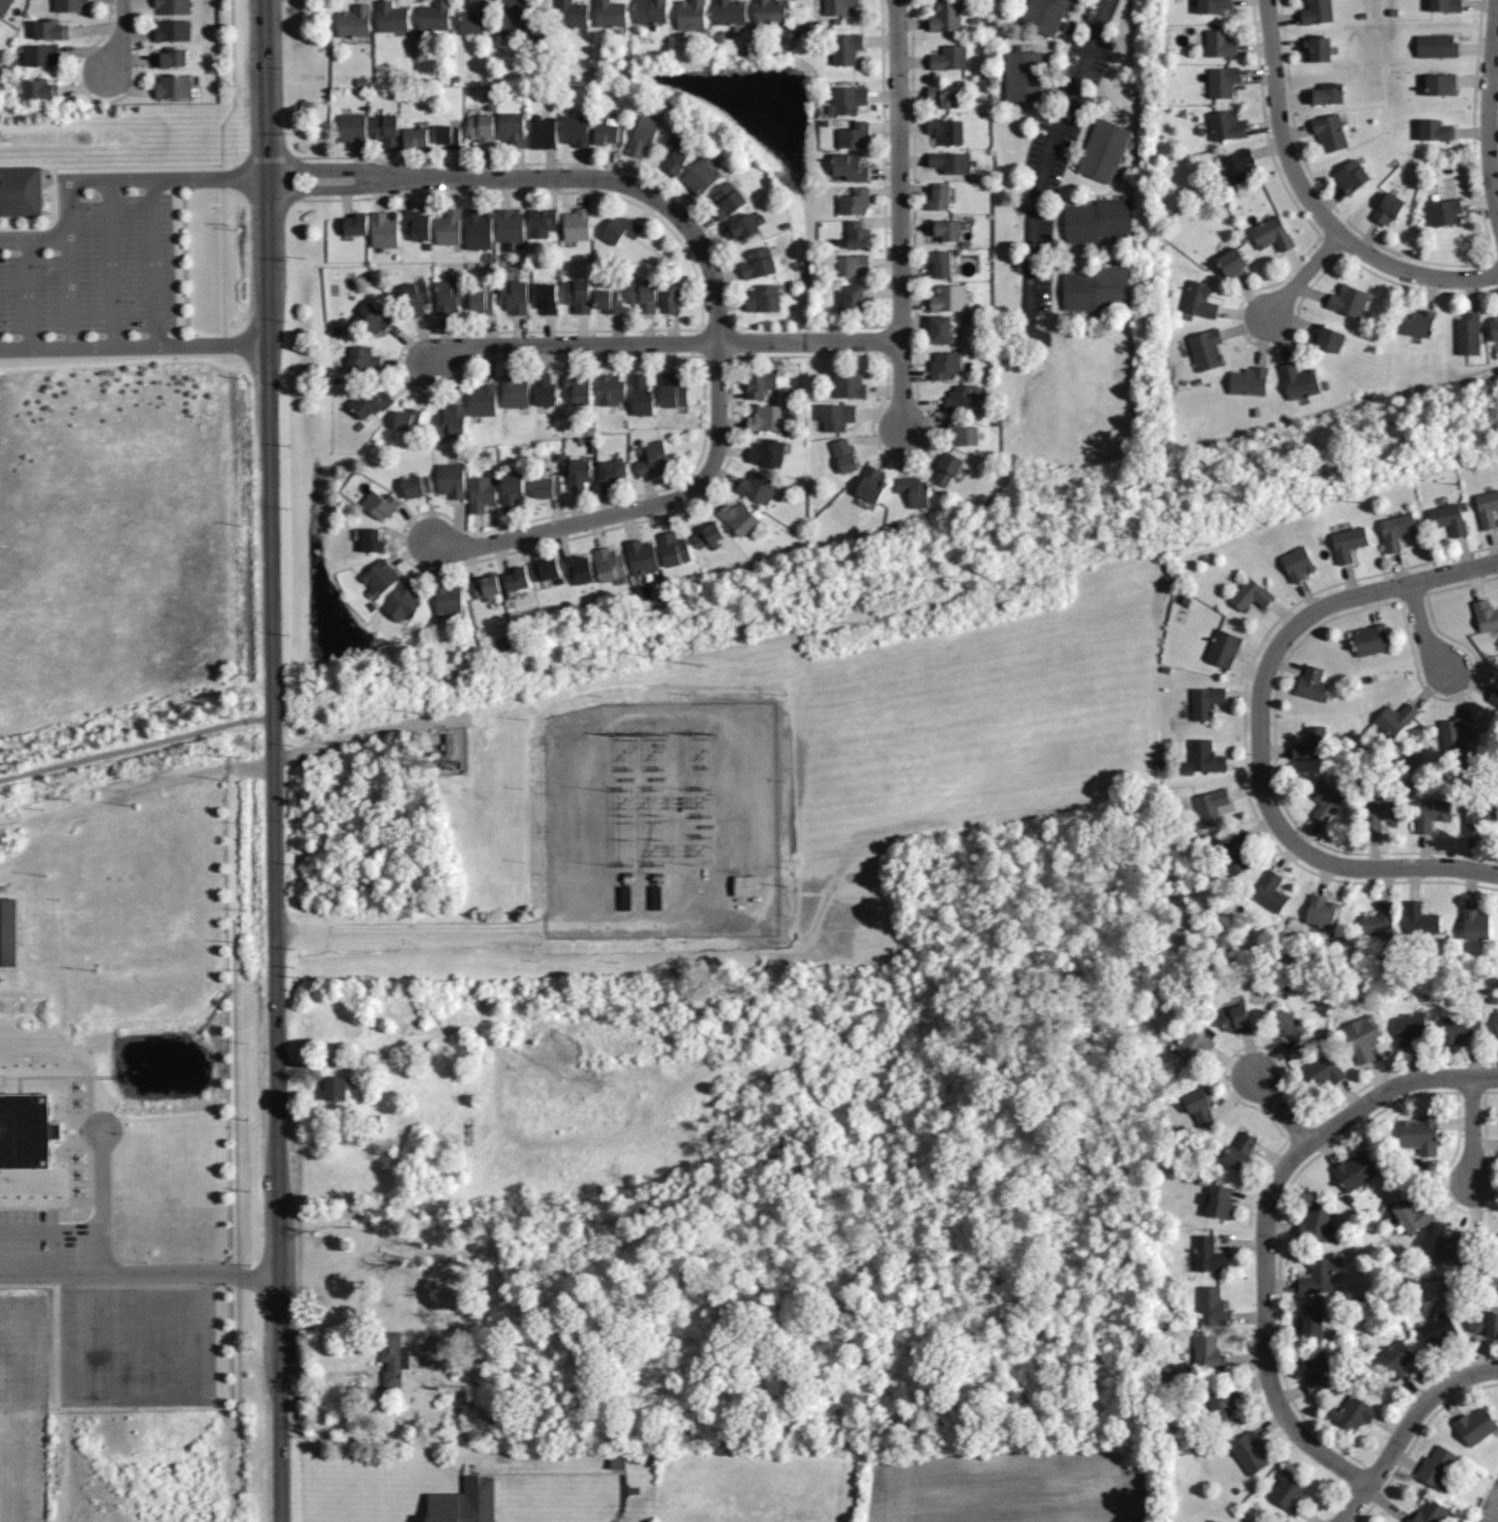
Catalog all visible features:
building: (4, 5)
building: (69, 5)
building: (1446, 5)
building: (173, 6)
building: (838, 6)
building: (1214, 6)
building: (648, 9)
building: (769, 11)
building: (1317, 11)
building: (730, 12)
building: (608, 13)
building: (571, 14)
building: (690, 14)
building: (1044, 14)
building: (433, 16)
building: (389, 17)
building: (513, 17)
building: (945, 17)
building: (471, 19)
building: (354, 22)
building: (0, 26)
building: (52, 29)
building: (173, 30)
road: (119, 37)
building: (1220, 43)
building: (846, 48)
building: (1316, 48)
building: (1437, 48)
building: (171, 56)
building: (41, 57)
building: (948, 58)
building: (1023, 75)
building: (1223, 82)
building: (1441, 85)
building: (172, 87)
building: (39, 88)
building: (942, 96)
building: (1328, 97)
building: (849, 100)
road: (1486, 110)
building: (1226, 125)
building: (352, 128)
building: (384, 128)
building: (512, 129)
building: (574, 129)
building: (480, 130)
building: (945, 130)
building: (608, 131)
building: (1436, 131)
building: (543, 132)
building: (1329, 133)
building: (643, 135)
building: (853, 135)
building: (447, 137)
building: (416, 138)
building: (1104, 150)
building: (675, 154)
building: (949, 162)
building: (1237, 165)
building: (849, 166)
road: (899, 169)
road: (1046, 169)
building: (701, 176)
building: (1350, 176)
road: (104, 177)
road: (546, 177)
building: (22, 189)
building: (940, 197)
building: (726, 201)
building: (854, 201)
road: (1311, 202)
building: (1389, 209)
building: (1447, 210)
building: (1097, 220)
building: (416, 223)
building: (541, 224)
building: (575, 224)
building: (353, 225)
building: (509, 225)
building: (448, 226)
building: (382, 228)
building: (742, 228)
building: (477, 229)
building: (622, 229)
building: (946, 229)
building: (1271, 233)
building: (857, 235)
building: (1230, 262)
building: (940, 263)
building: (758, 264)
building: (852, 264)
road: (1306, 275)
building: (1095, 288)
building: (545, 295)
building: (642, 295)
building: (577, 296)
building: (450, 297)
building: (513, 297)
building: (852, 297)
building: (416, 298)
building: (670, 298)
building: (764, 298)
building: (948, 298)
building: (1198, 299)
building: (1346, 300)
building: (608, 301)
building: (482, 303)
building: (371, 318)
building: (1420, 323)
building: (1494, 327)
building: (940, 330)
building: (1469, 334)
building: (1328, 338)
road: (663, 342)
road: (134, 345)
building: (1205, 350)
building: (363, 361)
building: (944, 364)
building: (1248, 380)
building: (1298, 380)
road: (901, 382)
building: (761, 383)
building: (849, 386)
building: (544, 388)
building: (611, 388)
building: (579, 389)
building: (672, 390)
building: (514, 392)
building: (640, 395)
building: (961, 400)
building: (484, 401)
building: (373, 403)
building: (836, 415)
building: (765, 416)
building: (408, 419)
building: (451, 421)
building: (961, 434)
building: (766, 453)
building: (843, 453)
building: (652, 458)
building: (613, 469)
building: (947, 469)
building: (581, 472)
building: (451, 480)
building: (415, 485)
building: (870, 485)
building: (546, 487)
building: (756, 488)
building: (512, 489)
building: (914, 491)
building: (480, 494)
building: (379, 505)
road: (638, 507)
building: (1488, 507)
building: (1448, 515)
building: (739, 518)
building: (1396, 527)
building: (708, 536)
building: (1347, 540)
building: (371, 541)
building: (672, 550)
building: (640, 553)
building: (1296, 563)
building: (609, 564)
building: (577, 566)
building: (543, 568)
building: (378, 578)
building: (516, 580)
building: (486, 587)
building: (1250, 591)
road: (1341, 596)
building: (448, 601)
building: (401, 603)
building: (1485, 612)
road: (1422, 632)
building: (1370, 637)
building: (1223, 646)
building: (1312, 682)
building: (1494, 694)
building: (1205, 699)
building: (1393, 720)
building: (1453, 730)
road: (370, 733)
building: (452, 741)
building: (1311, 742)
building: (1202, 755)
road: (273, 761)
building: (1323, 797)
building: (1209, 804)
building: (1379, 812)
building: (1477, 812)
building: (1429, 813)
power substation: (660, 821)
building: (1232, 851)
road: (1327, 861)
building: (741, 888)
building: (1269, 889)
building: (1318, 911)
building: (1421, 917)
building: (1378, 918)
building: (1476, 921)
road: (519, 925)
building: (11, 932)
building: (1236, 1018)
building: (1287, 1024)
building: (1410, 1029)
building: (1459, 1029)
building: (1497, 1029)
building: (1362, 1035)
building: (1191, 1046)
building: (1324, 1071)
building: (334, 1087)
road: (1382, 1092)
building: (1198, 1106)
road: (1281, 1110)
road: (1472, 1129)
building: (27, 1130)
building: (1419, 1134)
building: (1239, 1151)
building: (1353, 1170)
road: (103, 1197)
building: (1219, 1201)
building: (1411, 1214)
building: (1316, 1220)
road: (49, 1231)
building: (1491, 1231)
building: (1455, 1247)
building: (1208, 1256)
road: (168, 1272)
road: (28, 1274)
building: (1320, 1274)
building: (1212, 1306)
building: (1309, 1321)
building: (1484, 1323)
building: (1437, 1330)
road: (1265, 1343)
building: (1207, 1352)
building: (1395, 1357)
building: (392, 1358)
building: (1317, 1374)
building: (1222, 1404)
crop: (24, 1407)
building: (1352, 1414)
building: (1475, 1425)
road: (1404, 1428)
building: (1248, 1454)
building: (614, 1462)
building: (1434, 1465)
crop: (1015, 1488)
building: (1287, 1490)
building: (463, 1502)
building: (1428, 1512)
building: (1210, 1521)

